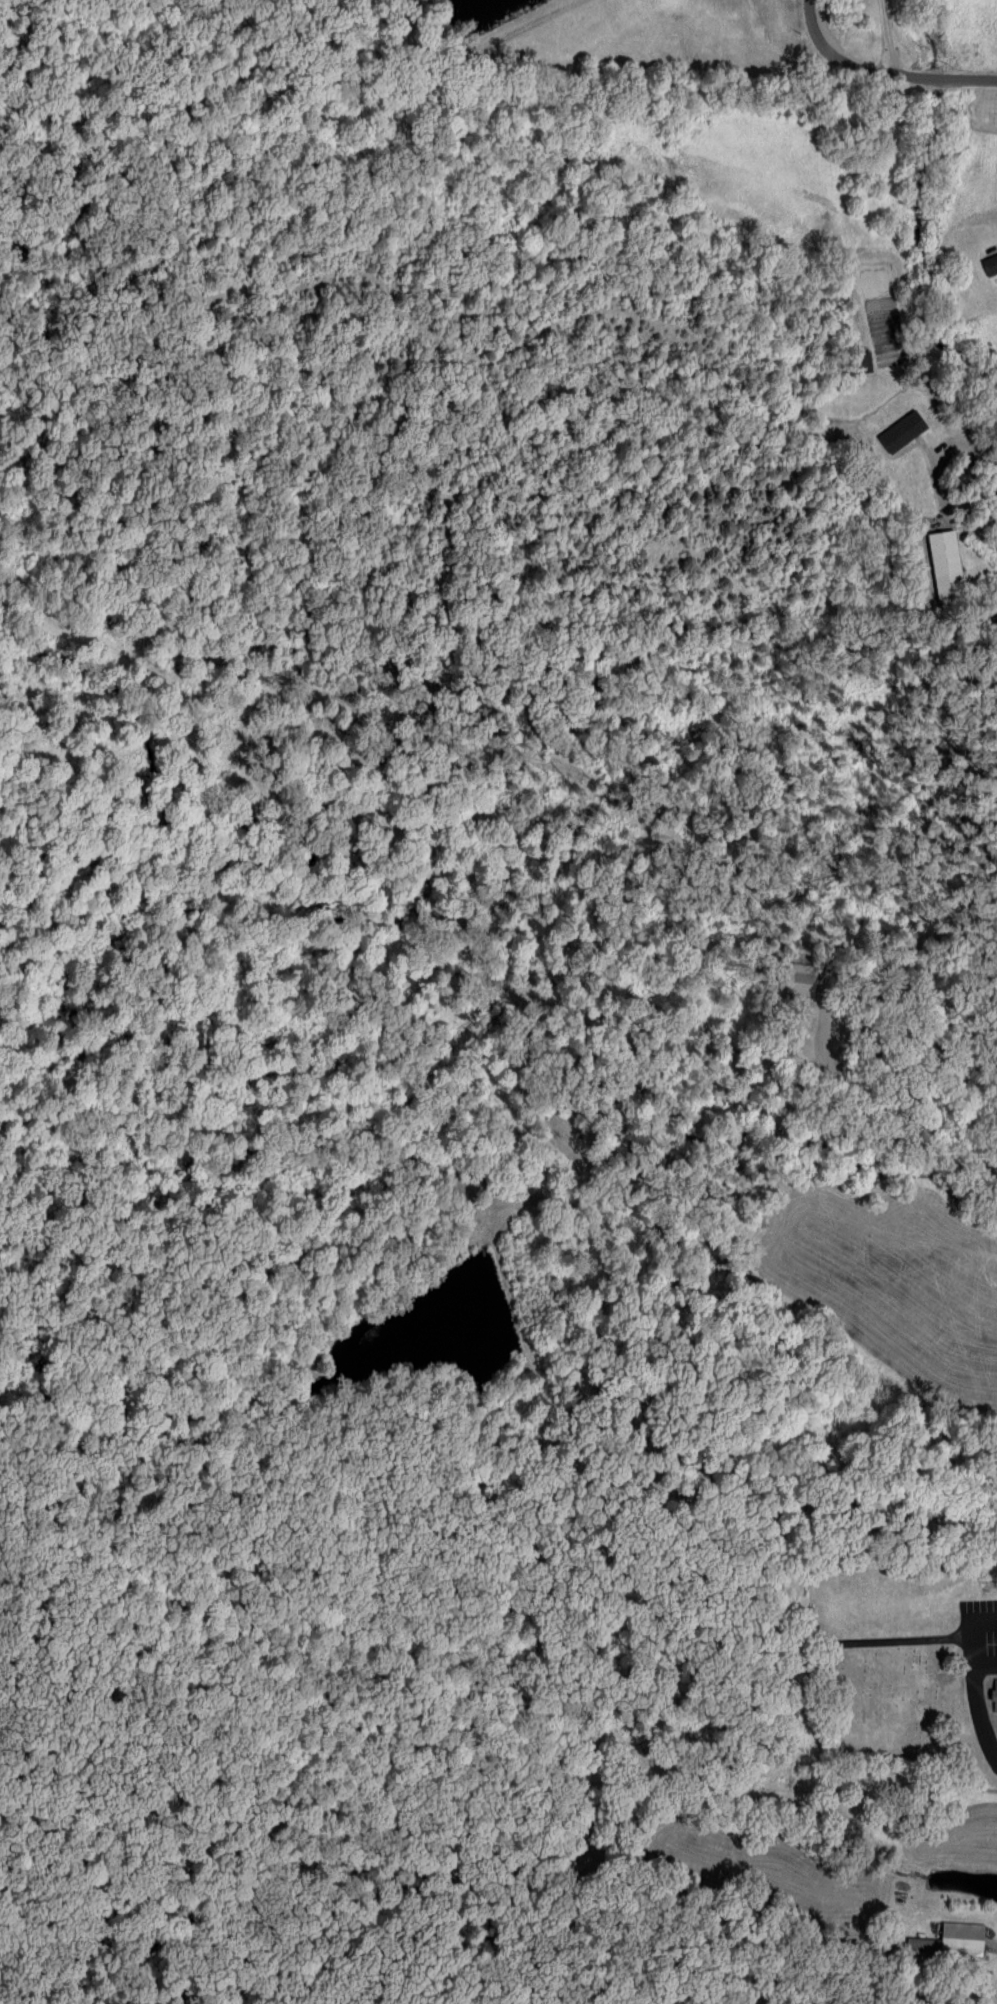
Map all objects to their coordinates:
road: (886, 38)
road: (880, 69)
building: (989, 265)
building: (861, 363)
building: (898, 432)
road: (935, 490)
building: (943, 565)
building: (992, 1694)
building: (948, 1941)
road: (988, 1943)

